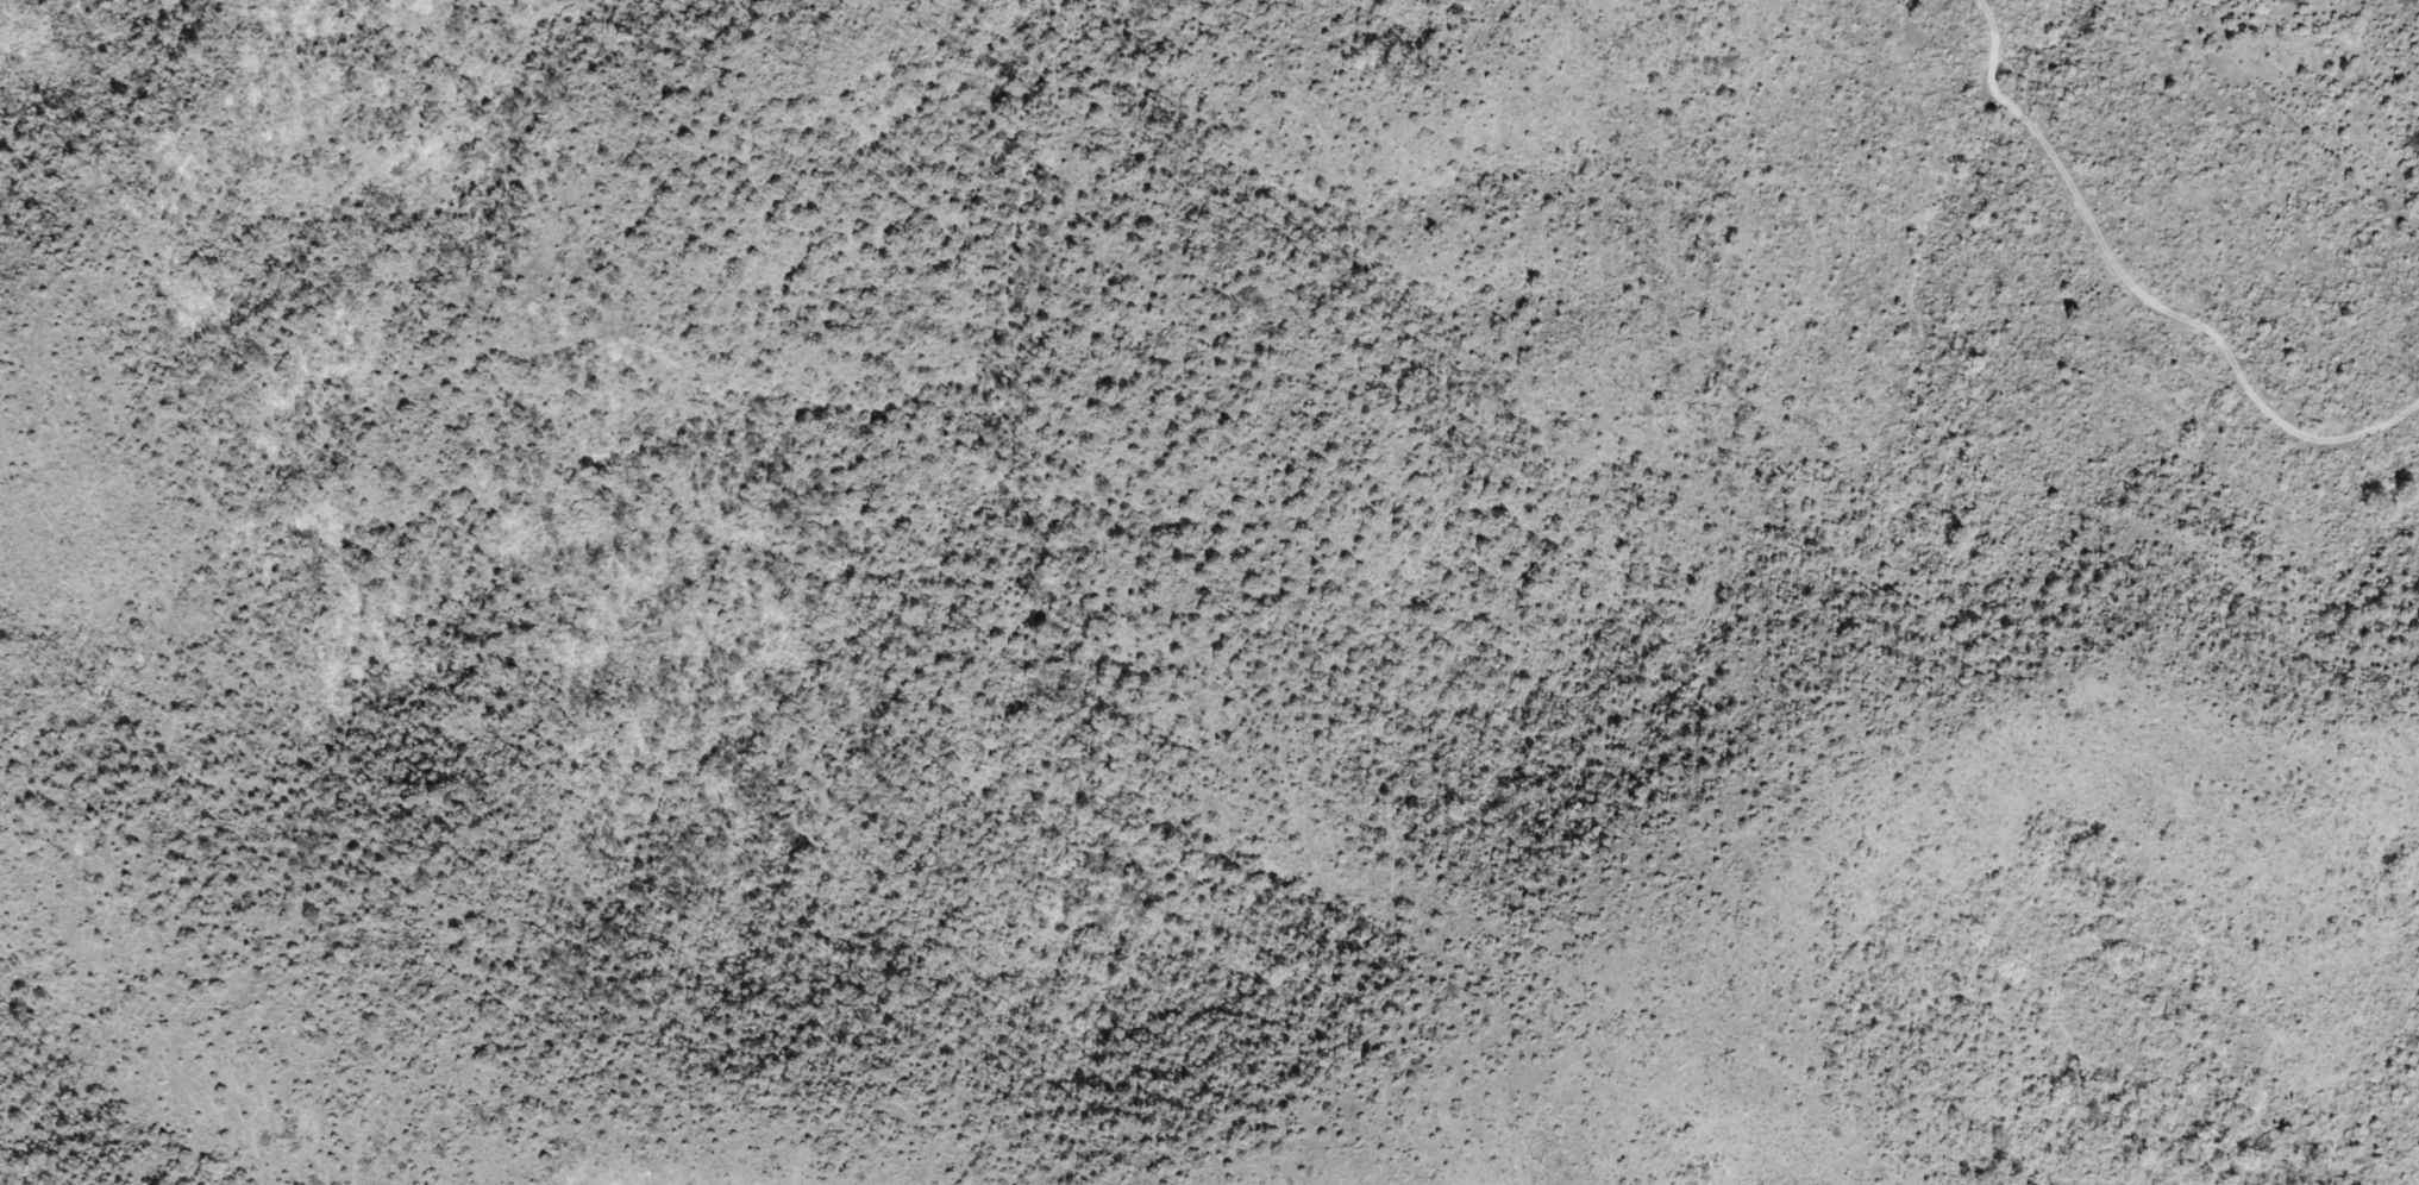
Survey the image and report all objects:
road: (2138, 301)

